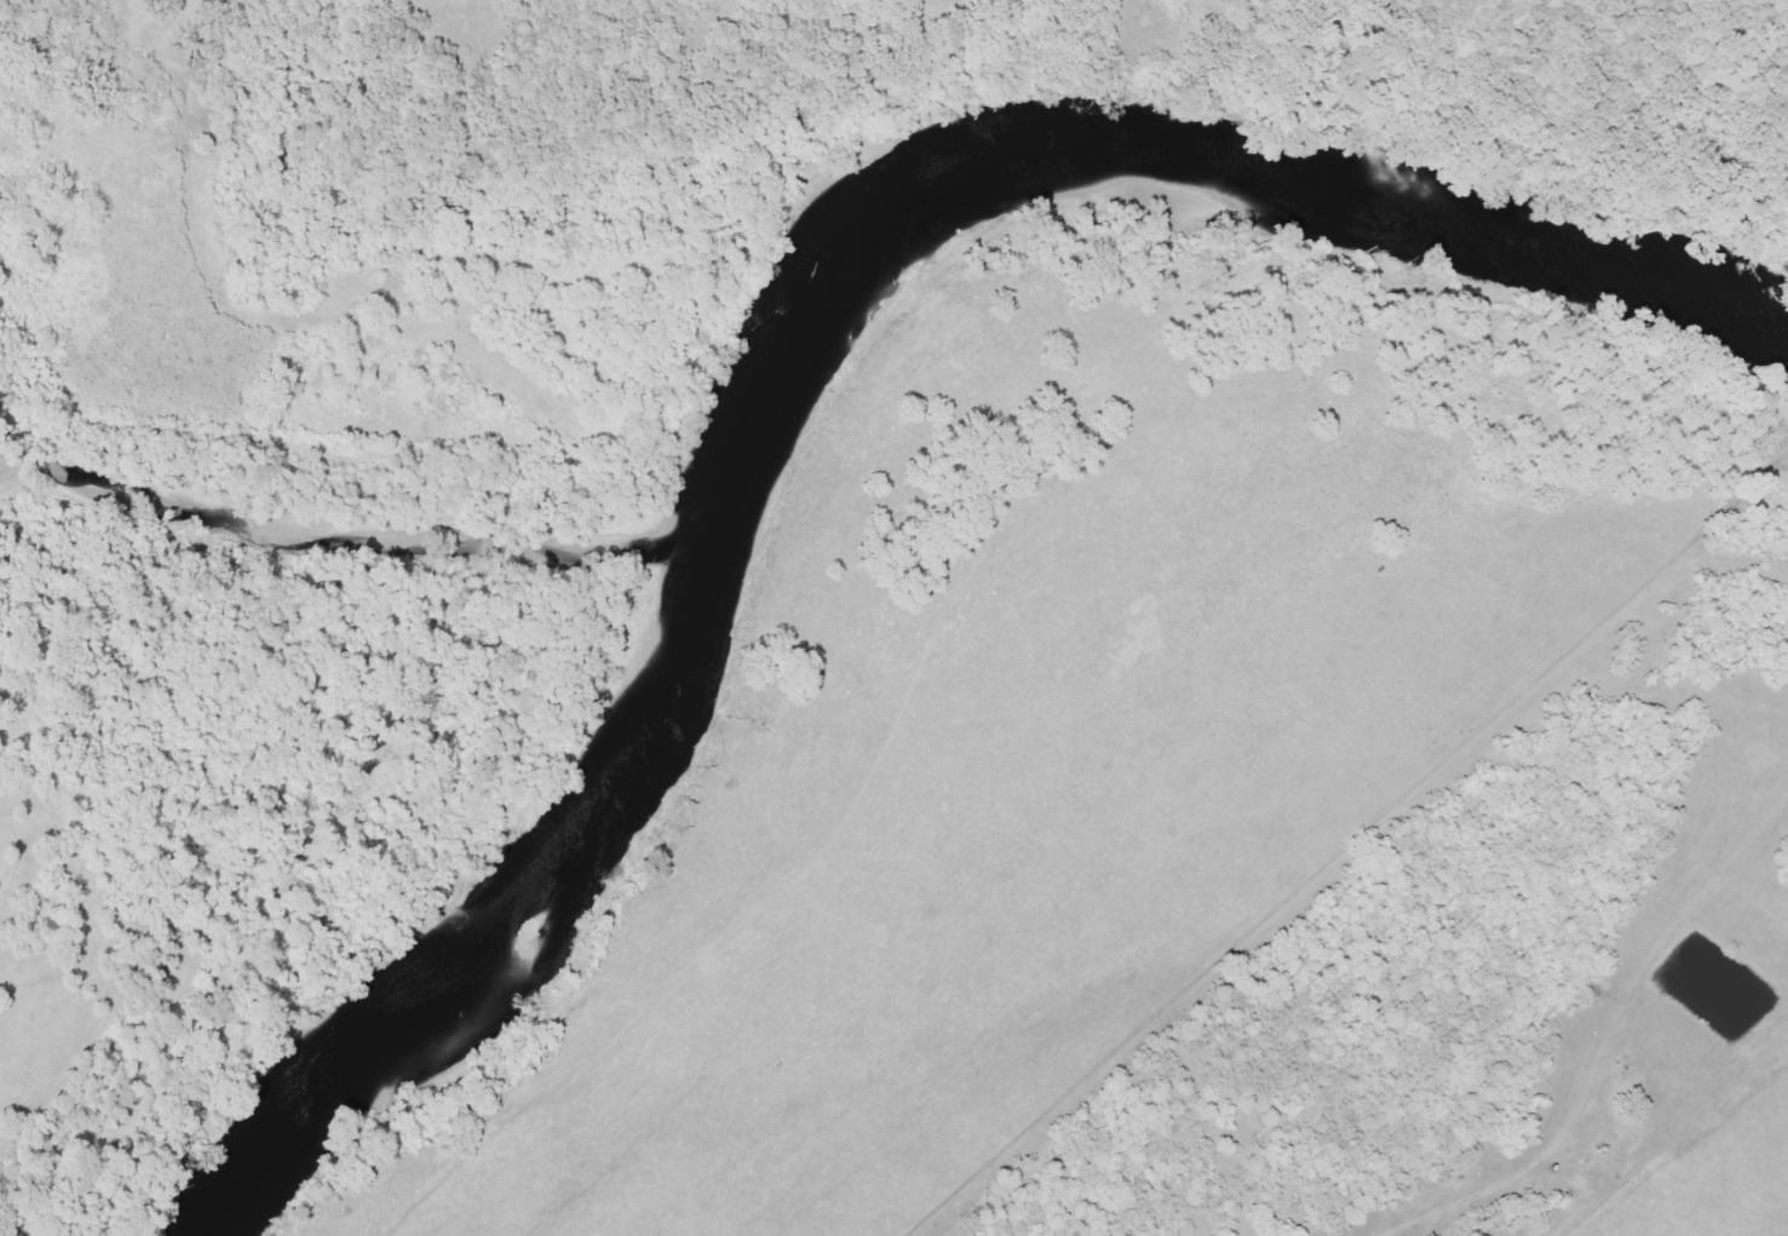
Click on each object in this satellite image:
river: (752, 363)
road: (901, 720)

